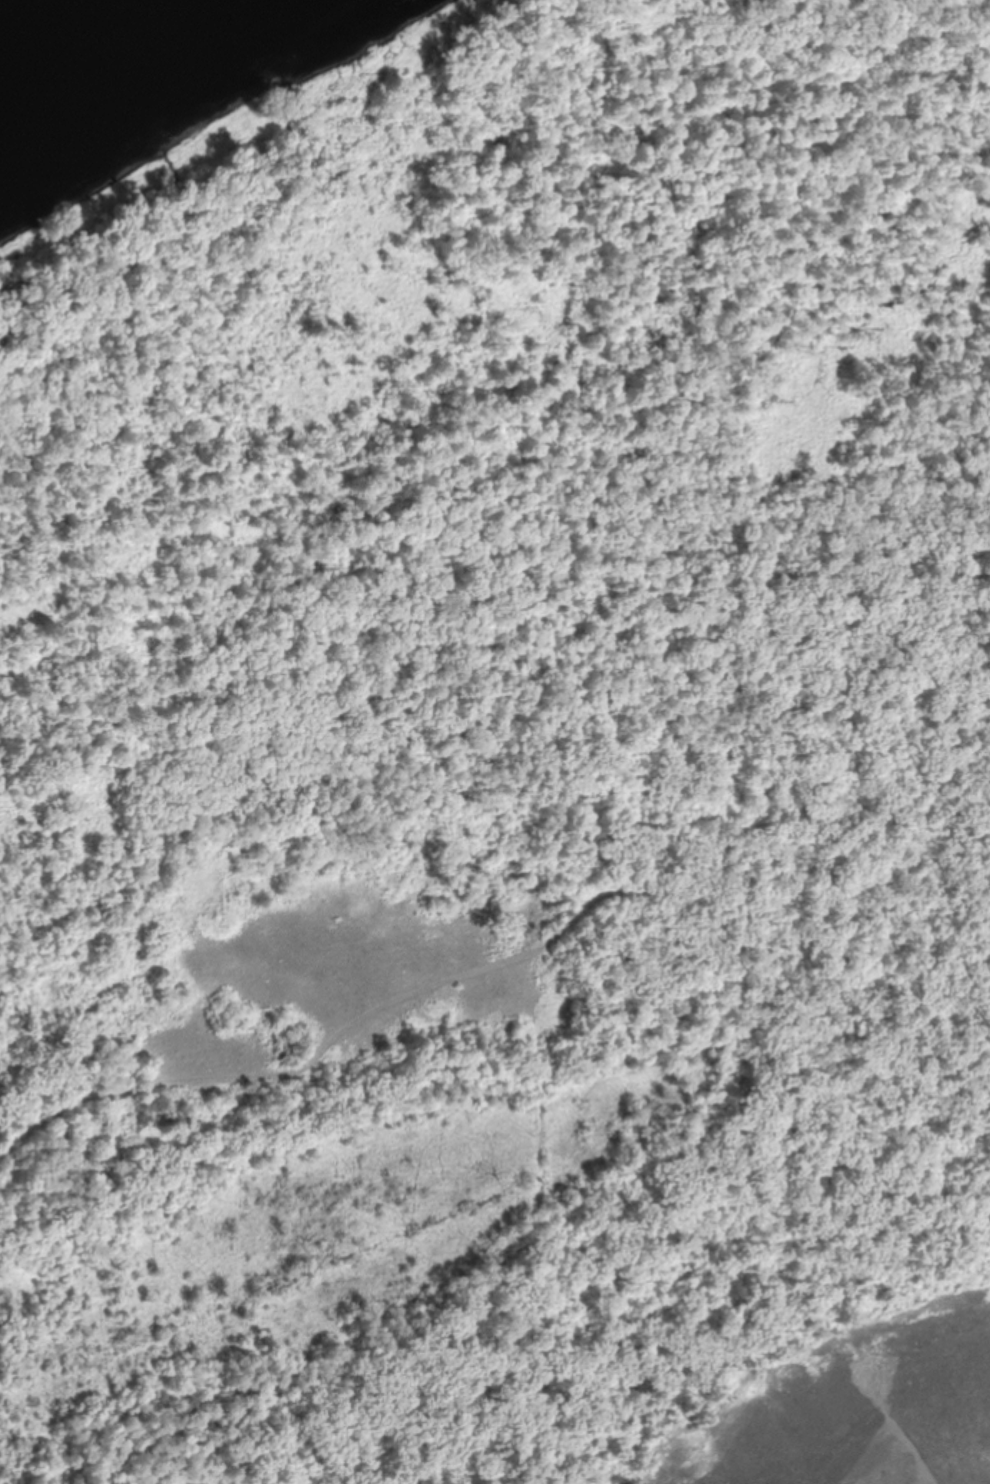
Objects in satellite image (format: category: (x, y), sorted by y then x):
park: (481, 715)
road: (521, 936)

